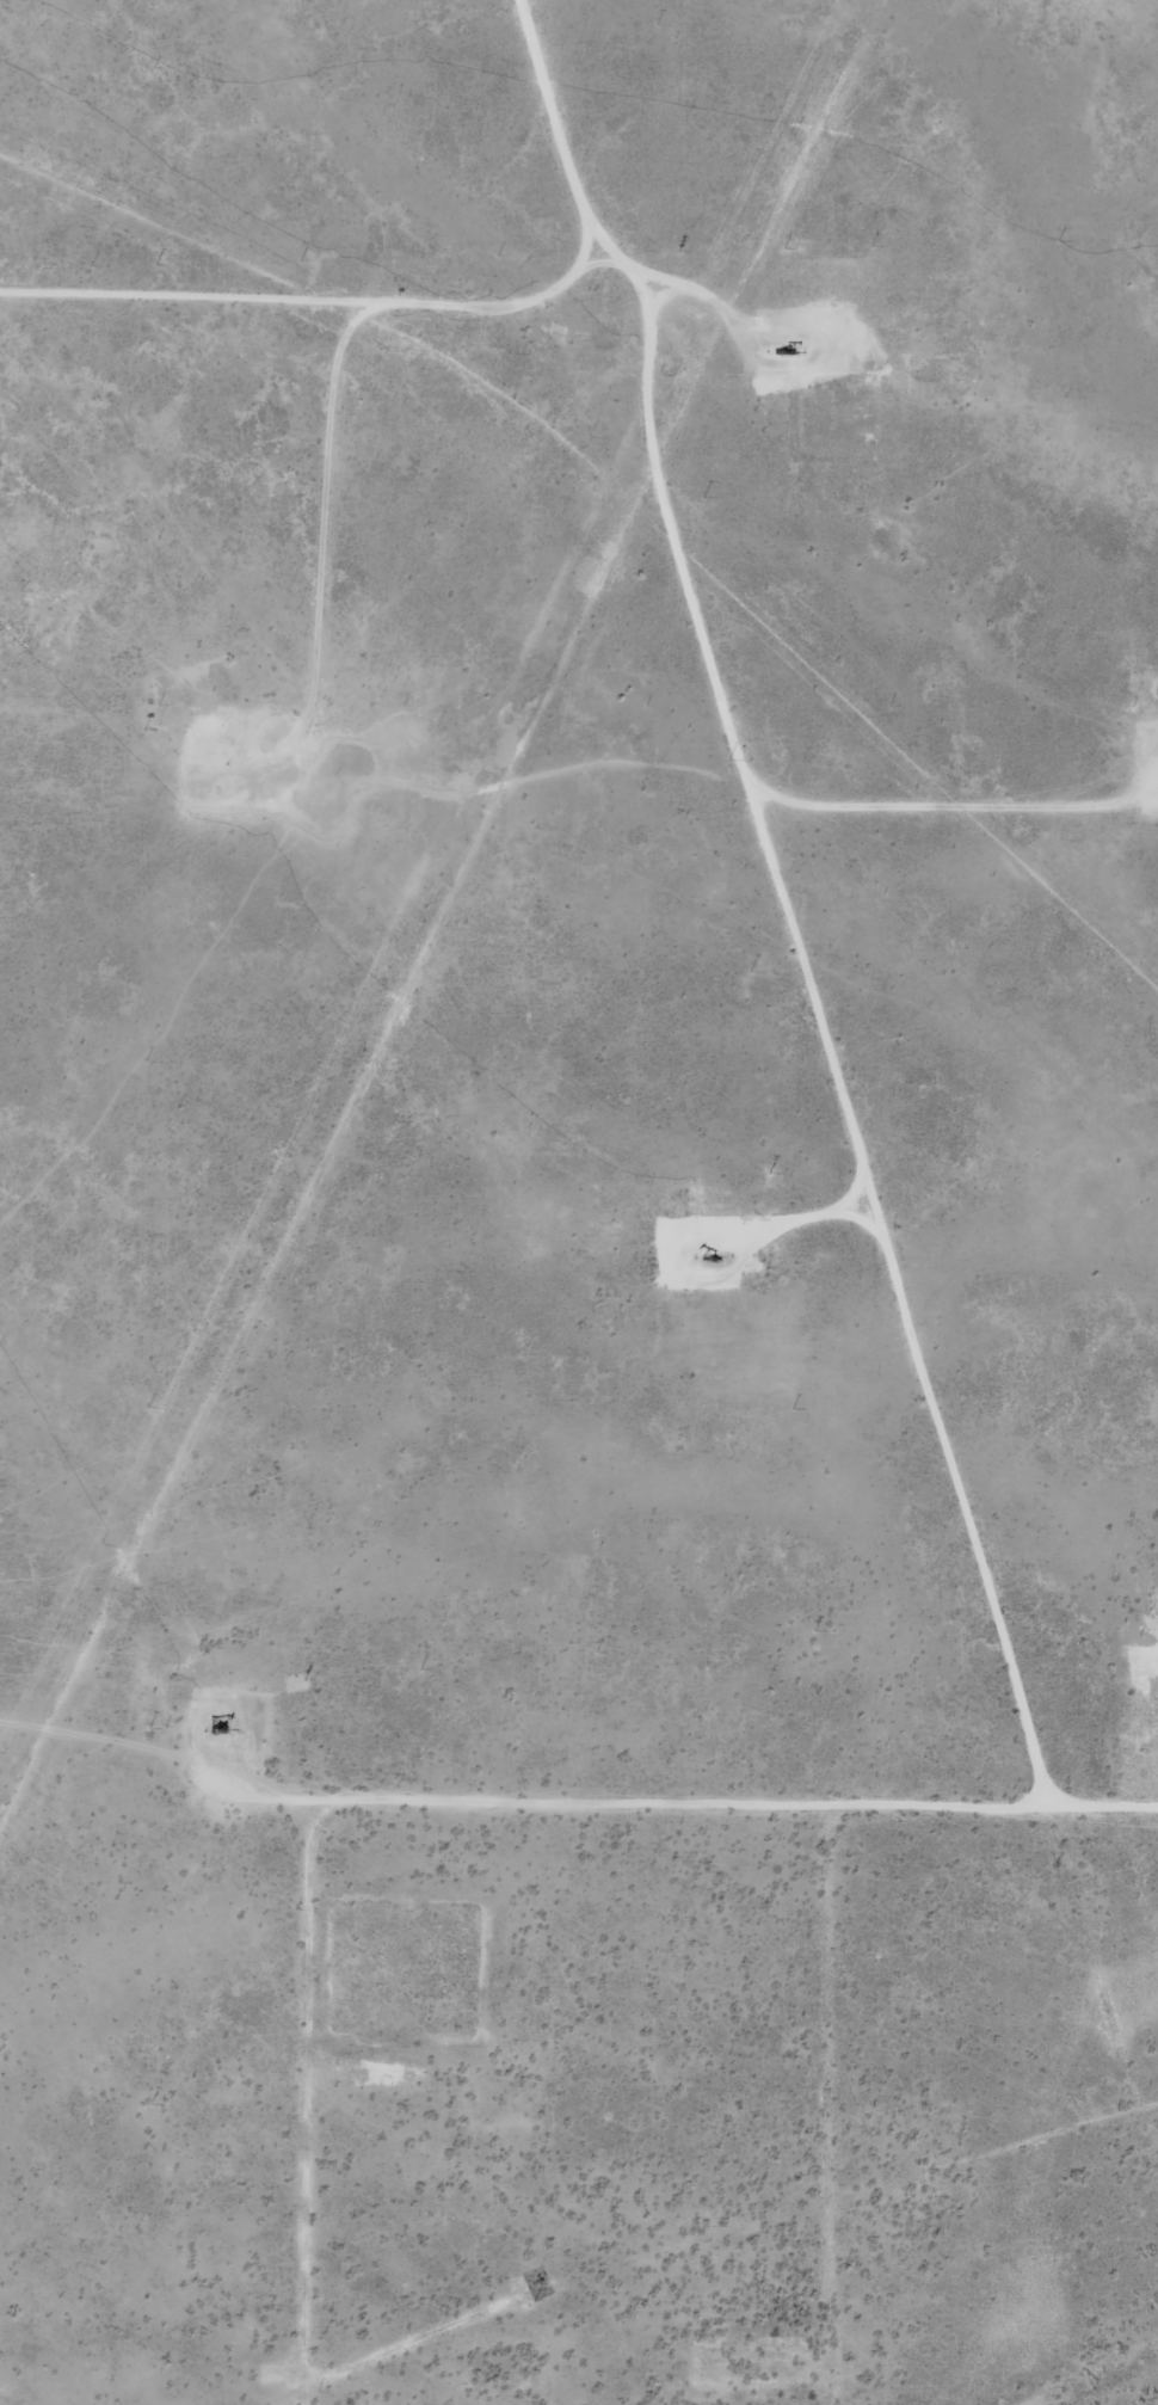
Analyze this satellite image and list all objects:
road: (347, 375)
road: (686, 546)
road: (441, 1798)
road: (833, 2081)

